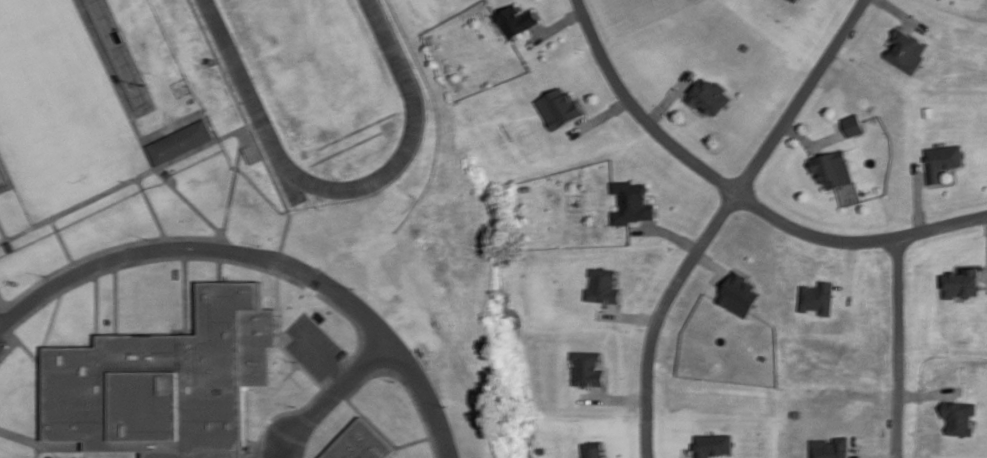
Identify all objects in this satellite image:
building: (796, 0)
road: (537, 9)
road: (904, 14)
building: (516, 19)
road: (909, 24)
road: (554, 26)
road: (892, 32)
building: (745, 46)
building: (907, 50)
park: (324, 91)
building: (709, 95)
road: (799, 95)
road: (670, 96)
road: (690, 103)
building: (559, 106)
building: (929, 110)
road: (599, 115)
building: (854, 122)
road: (135, 129)
road: (250, 129)
road: (801, 135)
road: (827, 137)
building: (183, 141)
building: (942, 159)
building: (832, 167)
road: (233, 182)
building: (0, 183)
road: (944, 183)
road: (124, 185)
building: (526, 187)
road: (741, 193)
road: (918, 196)
building: (631, 202)
road: (149, 210)
road: (666, 230)
road: (58, 242)
road: (103, 251)
road: (188, 258)
road: (264, 258)
road: (712, 262)
road: (218, 272)
road: (717, 274)
building: (964, 281)
building: (603, 286)
road: (277, 291)
building: (737, 292)
road: (182, 297)
building: (816, 298)
road: (110, 303)
road: (91, 312)
road: (658, 313)
parking lot: (2, 345)
road: (899, 346)
parking lot: (313, 348)
building: (763, 356)
road: (322, 359)
building: (588, 369)
building: (165, 382)
road: (407, 387)
road: (39, 388)
road: (275, 390)
road: (337, 391)
road: (930, 392)
street lamp: (446, 403)
road: (942, 408)
building: (795, 412)
building: (962, 415)
road: (383, 436)
building: (359, 444)
building: (713, 444)
road: (40, 445)
building: (593, 448)
building: (829, 448)
road: (34, 451)
road: (607, 451)
road: (723, 455)
building: (51, 457)
road: (875, 457)

